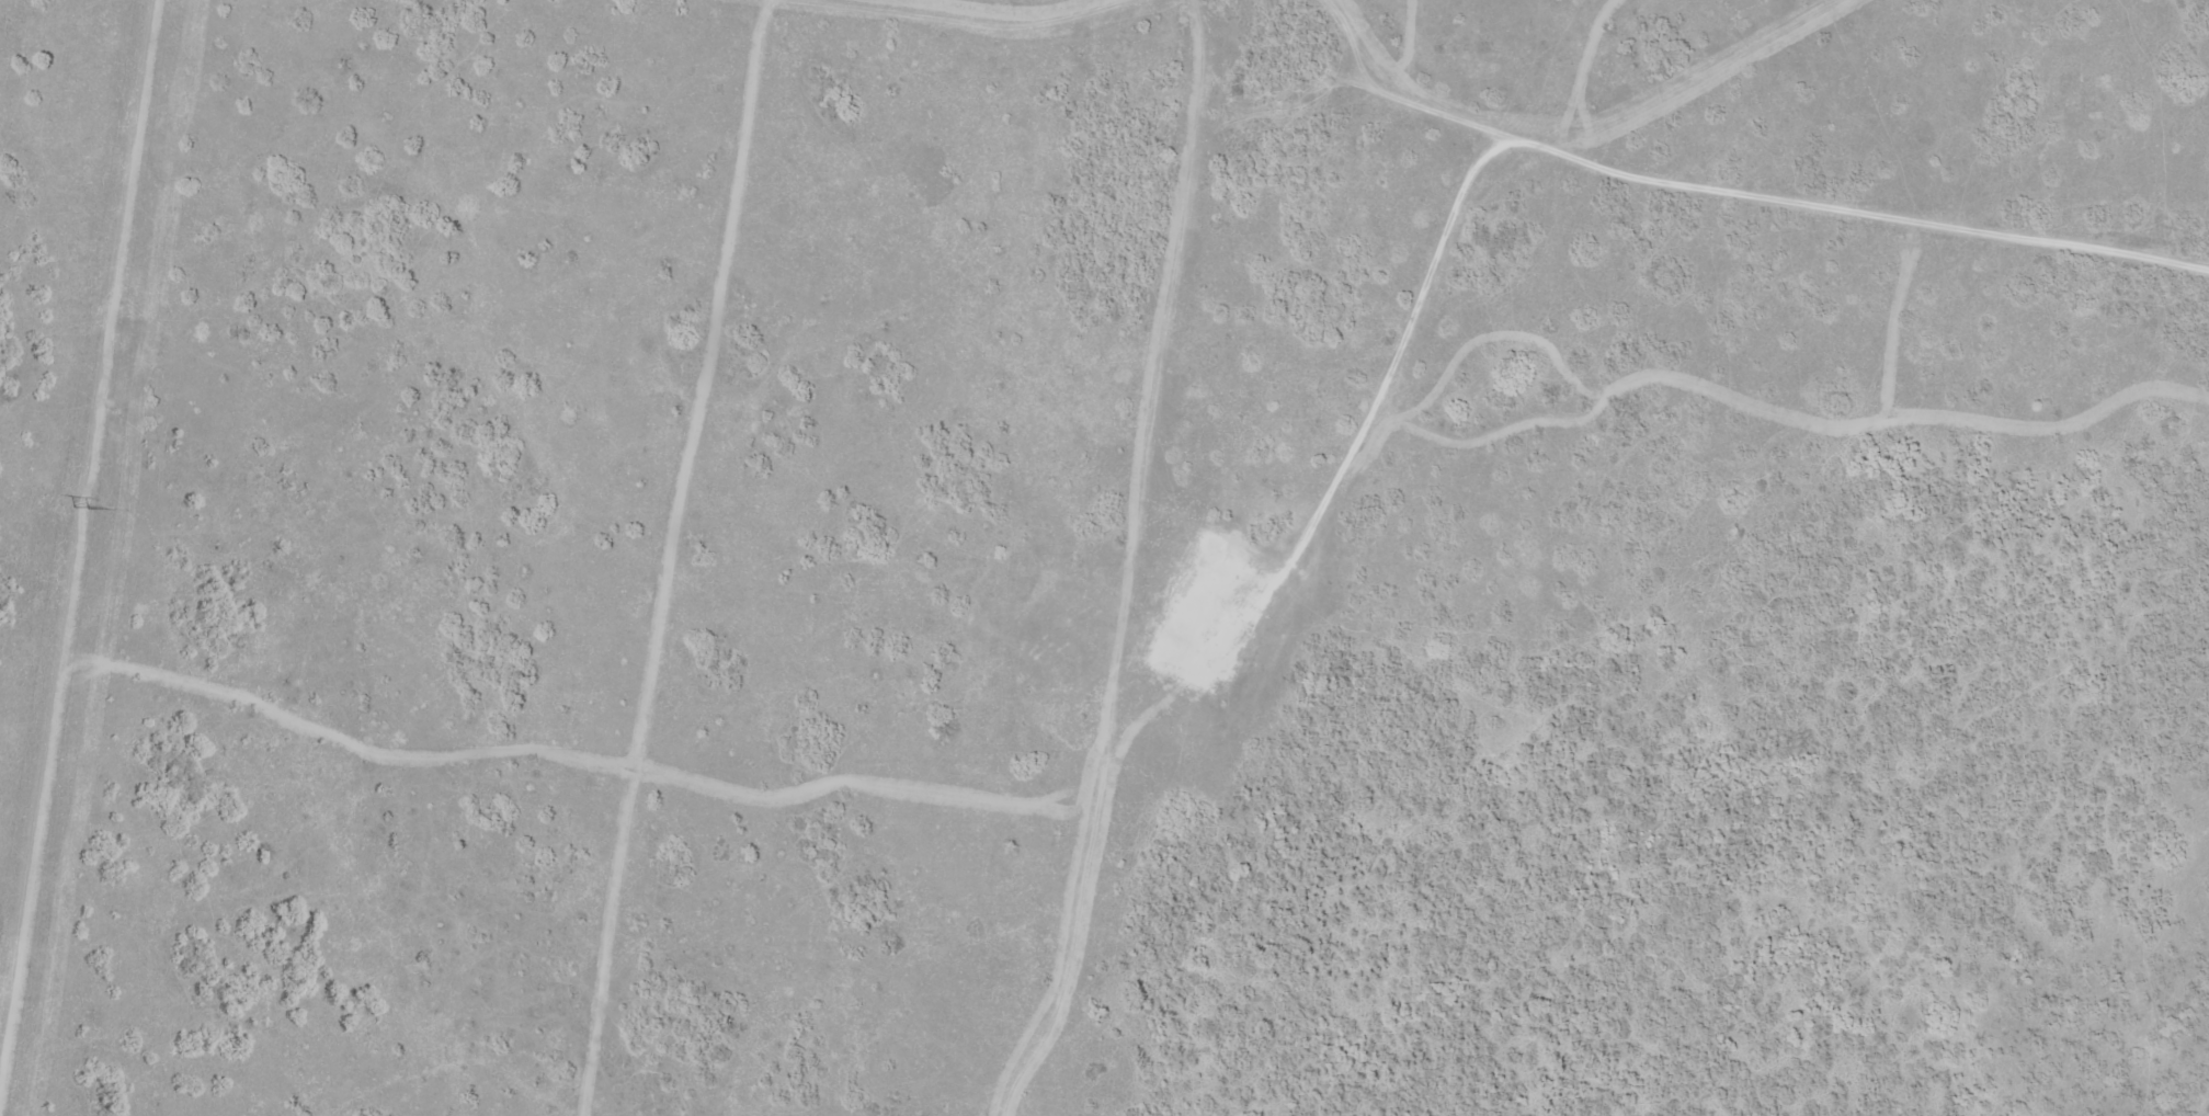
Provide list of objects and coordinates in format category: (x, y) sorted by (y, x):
power tower: (76, 506)

